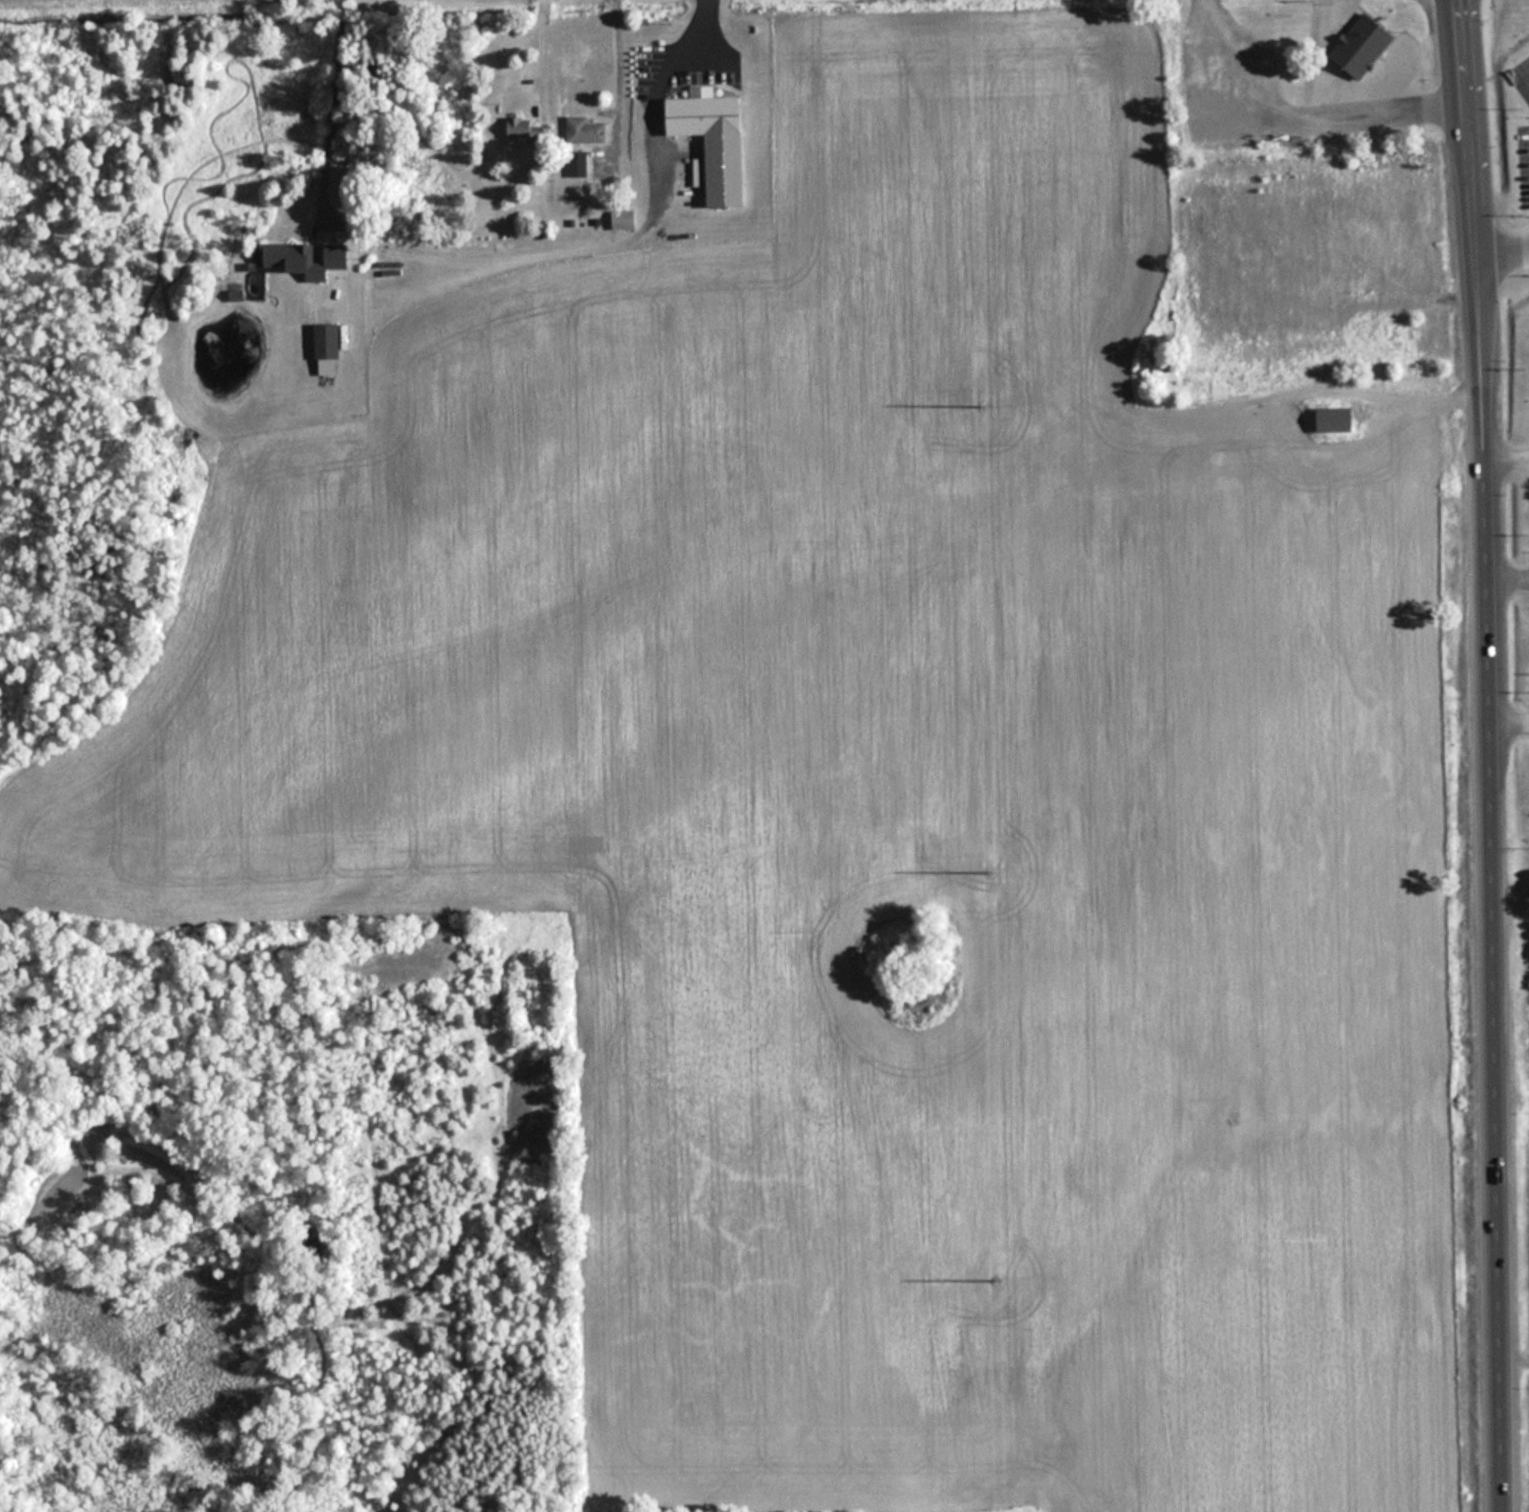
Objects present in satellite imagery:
building: (1363, 44)
road: (535, 56)
road: (612, 77)
road: (650, 88)
building: (1259, 96)
road: (329, 112)
building: (706, 114)
building: (525, 128)
building: (1346, 130)
building: (585, 131)
road: (1501, 250)
building: (295, 260)
building: (327, 341)
power tower: (980, 402)
building: (1336, 420)
road: (1506, 453)
road: (1510, 716)
road: (1491, 755)
power tower: (987, 868)
road: (1511, 903)
power tower: (994, 1280)

